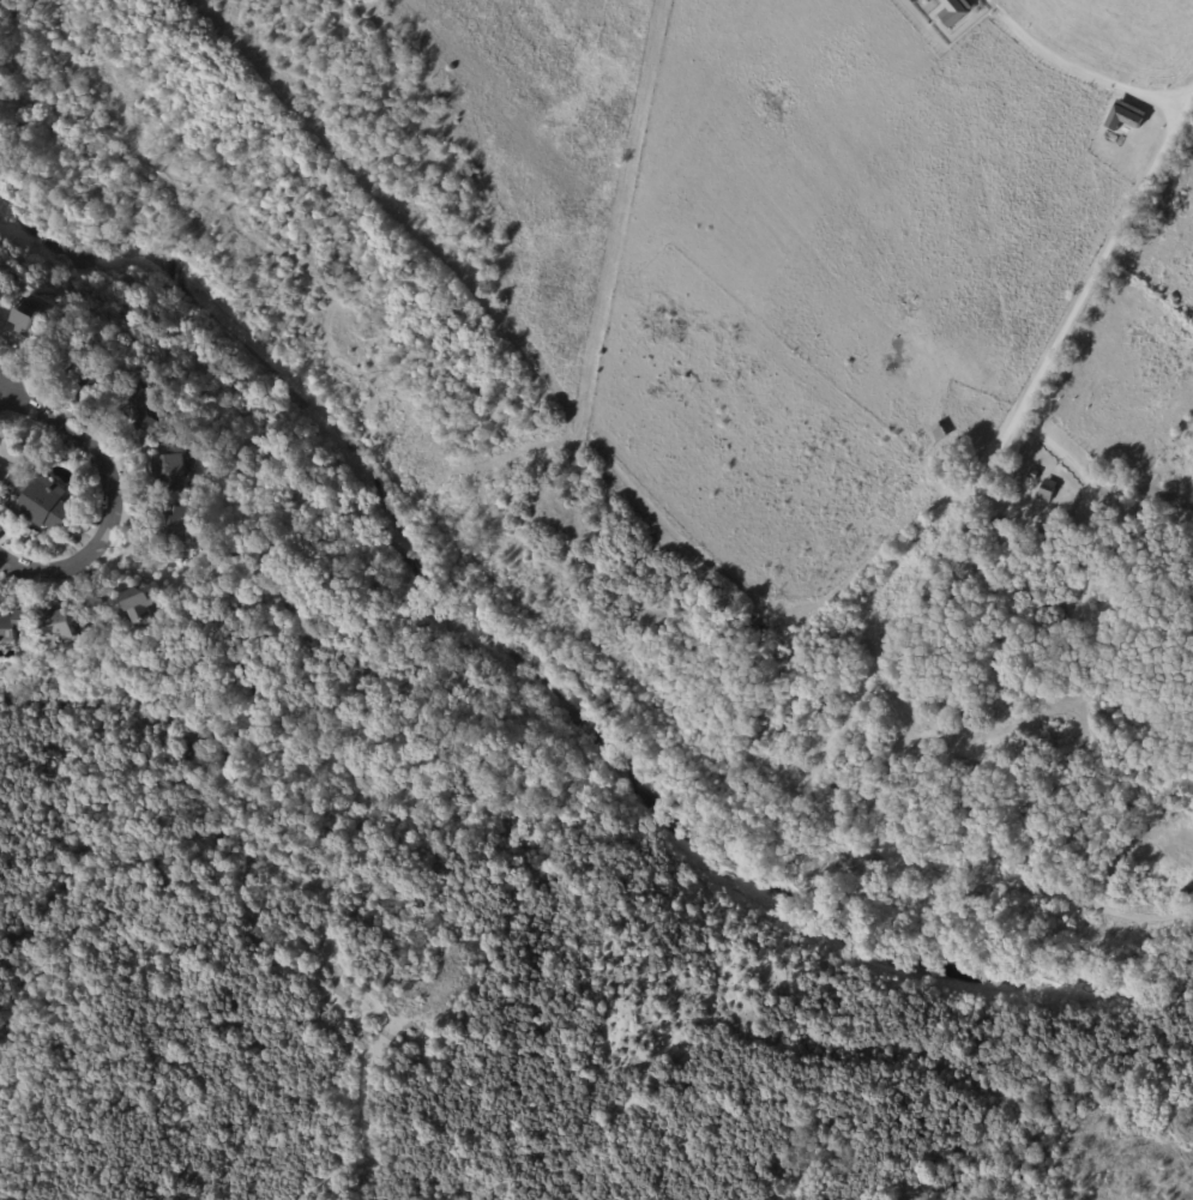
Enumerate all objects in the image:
building: (953, 13)
road: (1067, 62)
road: (1162, 98)
building: (31, 318)
building: (77, 368)
building: (140, 373)
building: (91, 387)
building: (140, 409)
building: (186, 451)
building: (0, 466)
building: (170, 470)
building: (1032, 474)
building: (942, 481)
building: (5, 482)
building: (1046, 490)
park: (906, 494)
road: (119, 501)
building: (43, 505)
building: (173, 524)
building: (995, 524)
building: (1042, 536)
building: (183, 555)
road: (710, 560)
road: (1086, 584)
building: (132, 602)
building: (55, 623)
building: (13, 625)
road: (980, 742)
building: (447, 791)
road: (830, 818)
building: (1187, 888)

